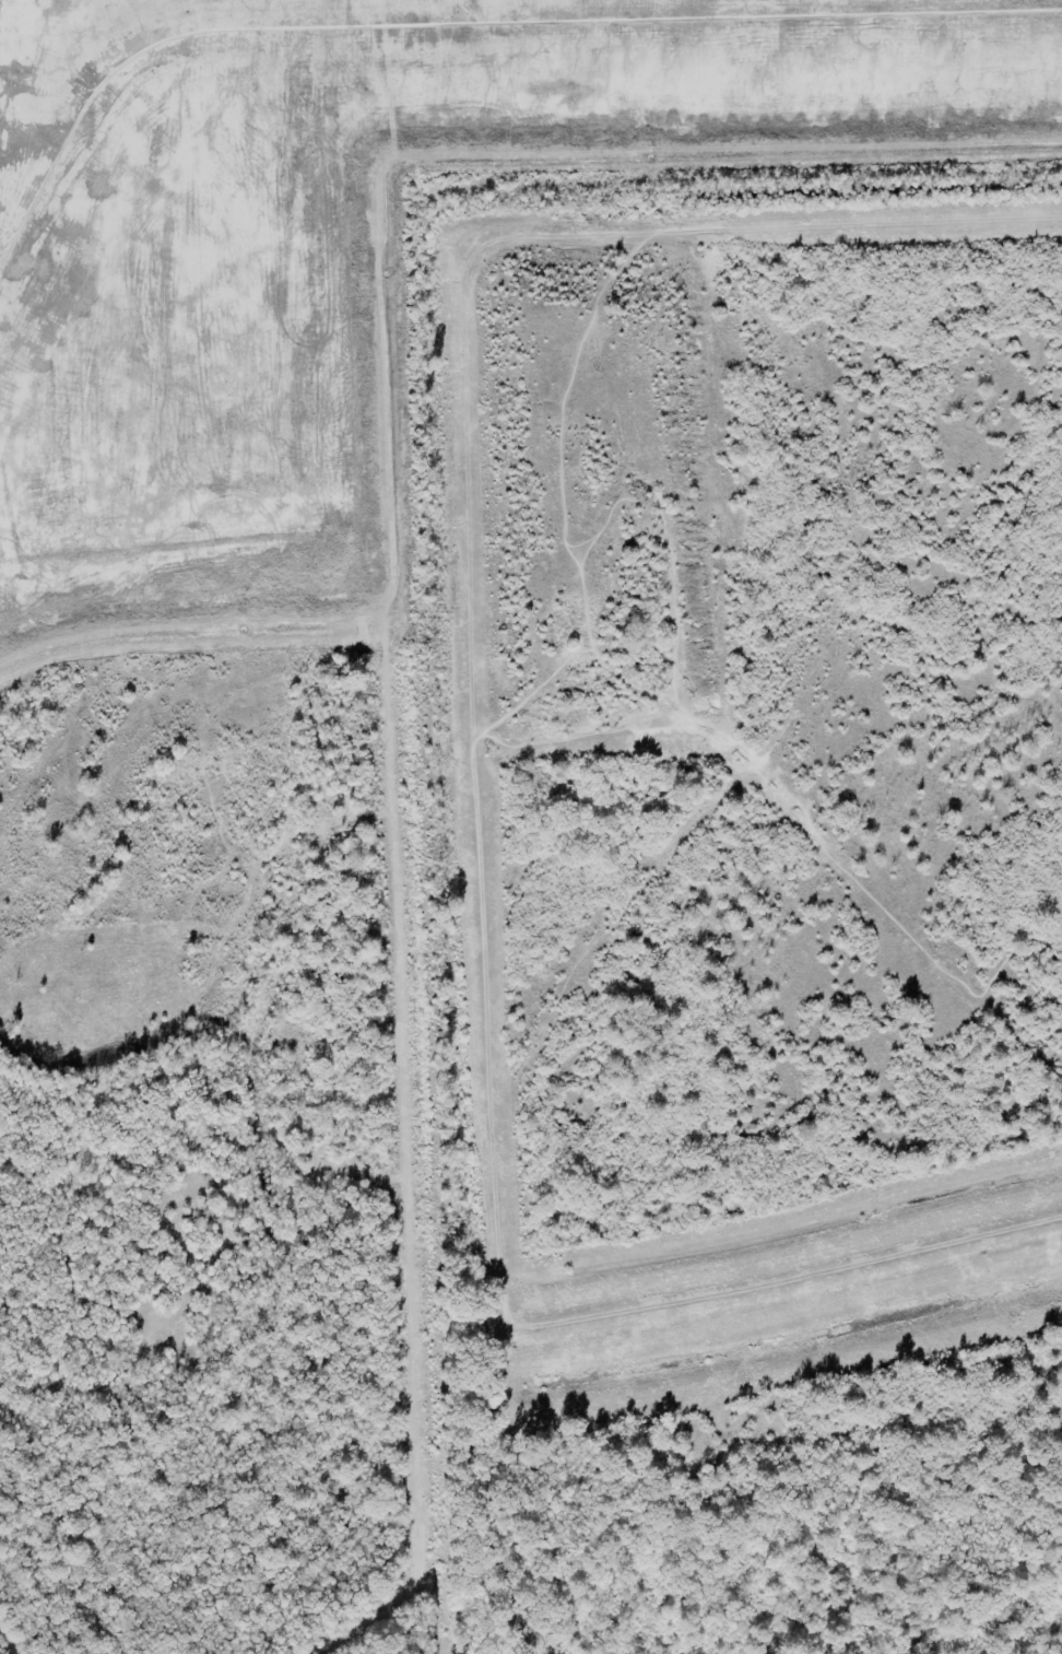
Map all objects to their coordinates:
road: (720, 143)

